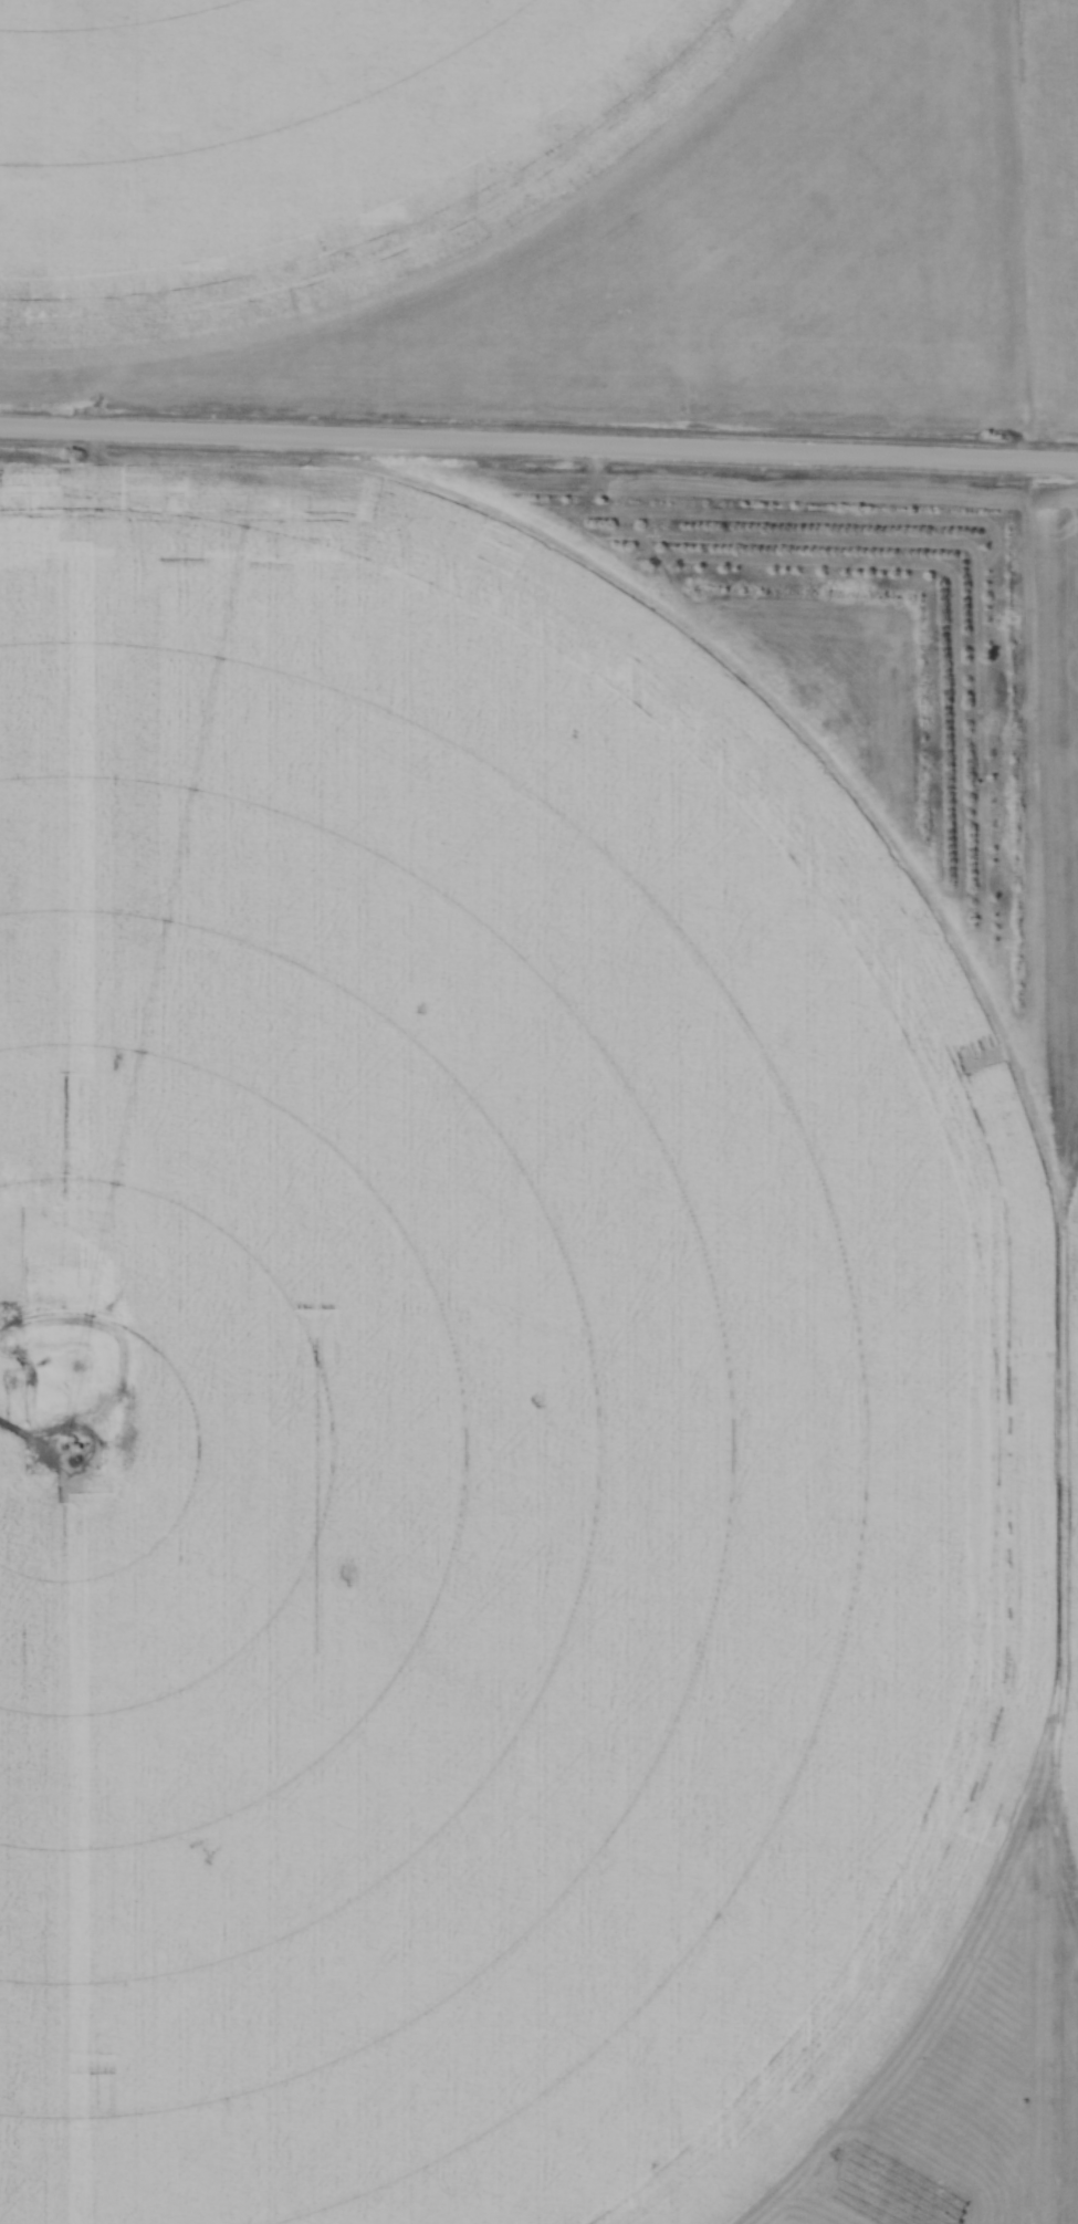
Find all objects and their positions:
road: (538, 447)

